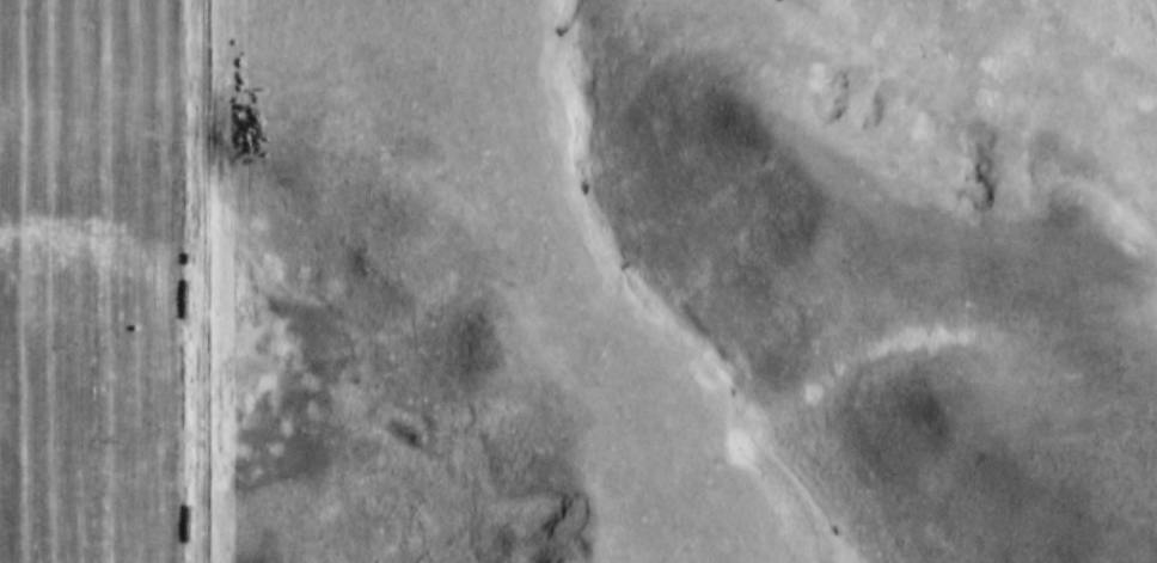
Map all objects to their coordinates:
road: (204, 281)

